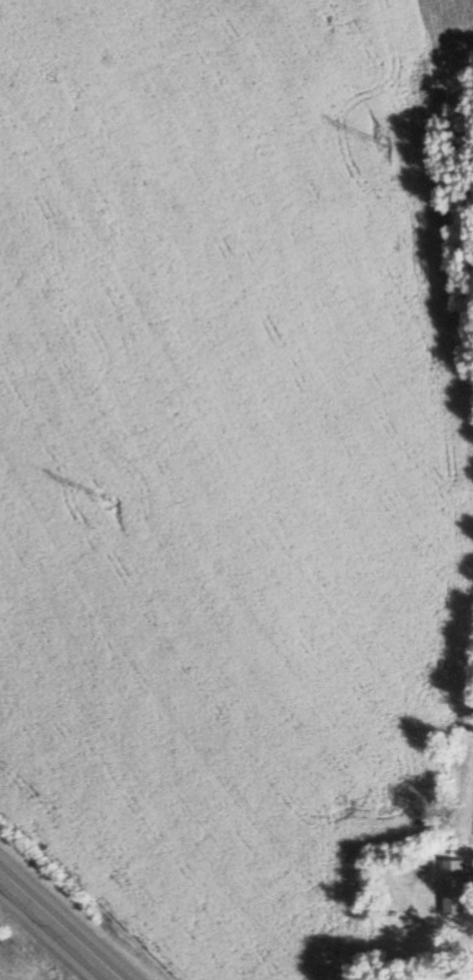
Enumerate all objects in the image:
power tower: (383, 140)
power tower: (109, 498)
building: (455, 879)
road: (58, 927)

